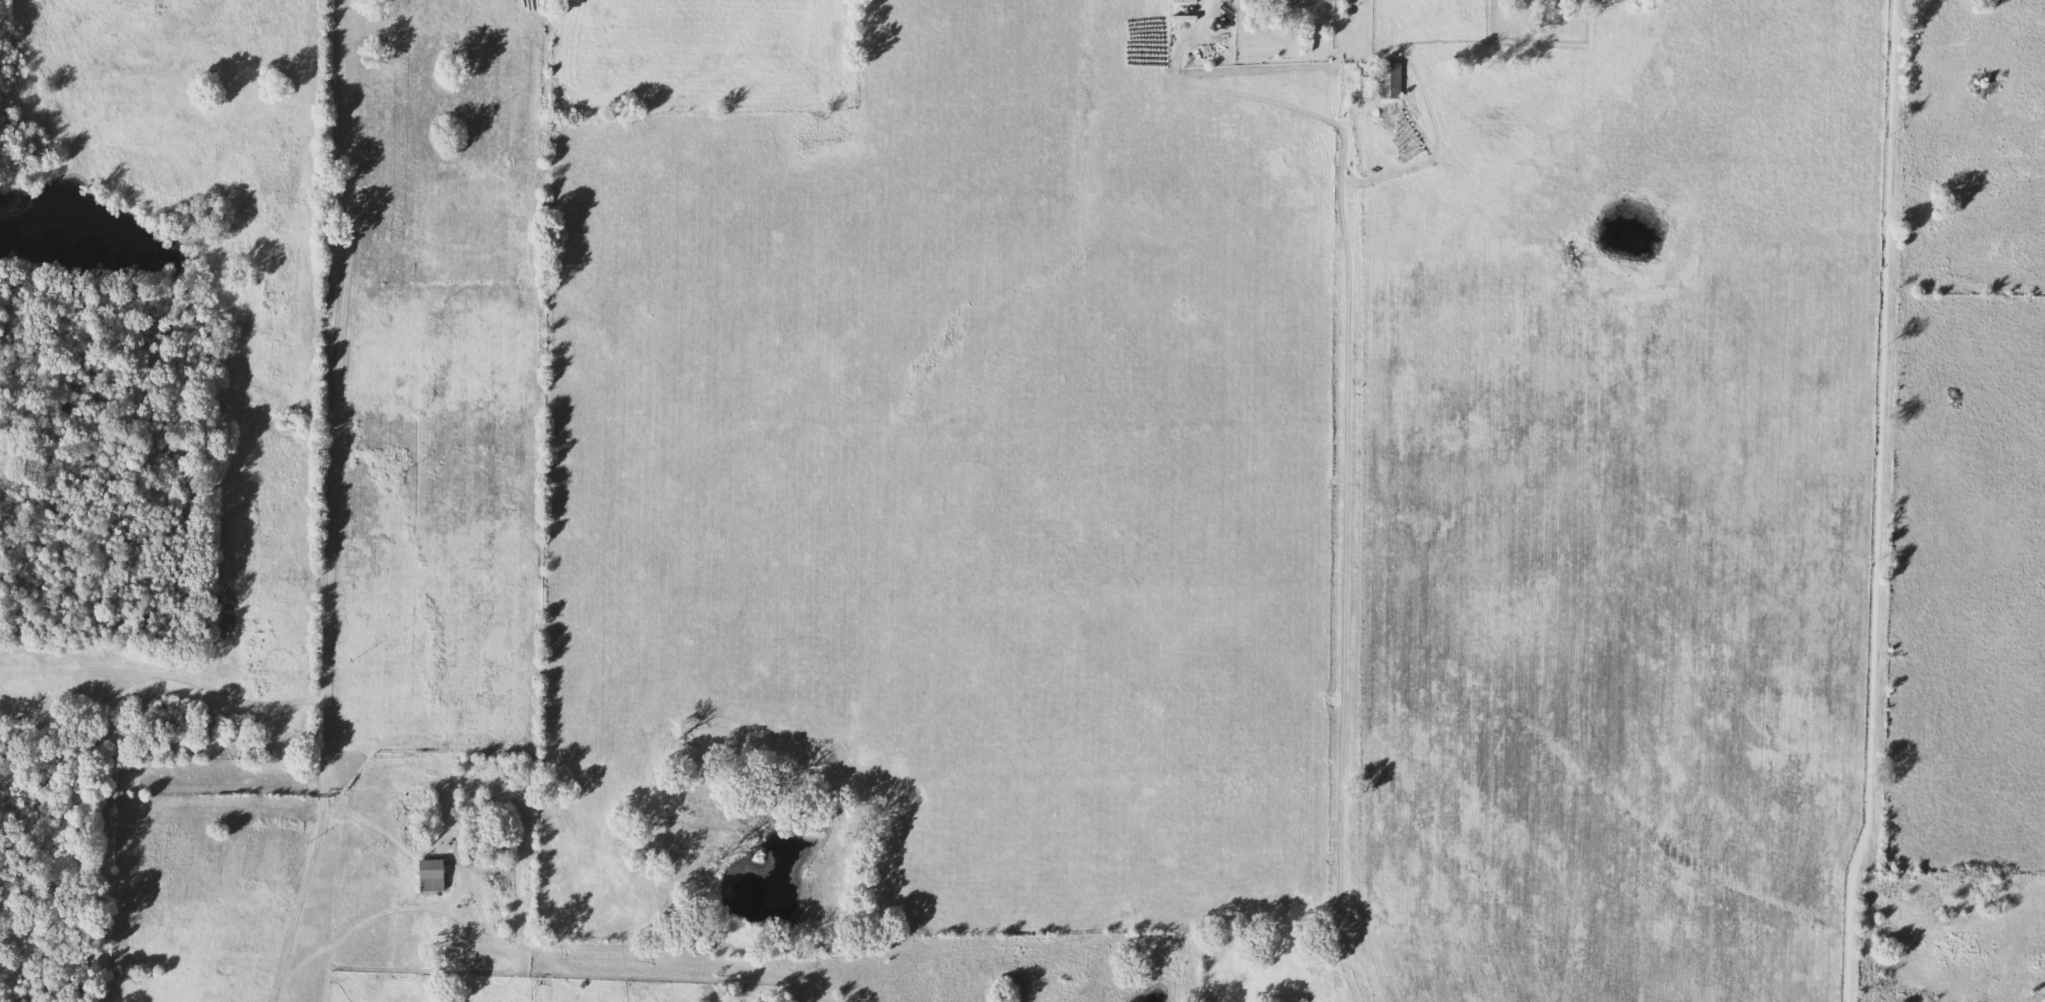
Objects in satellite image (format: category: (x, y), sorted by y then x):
building: (1394, 82)
road: (336, 432)
road: (1349, 494)
building: (433, 869)
road: (293, 933)

